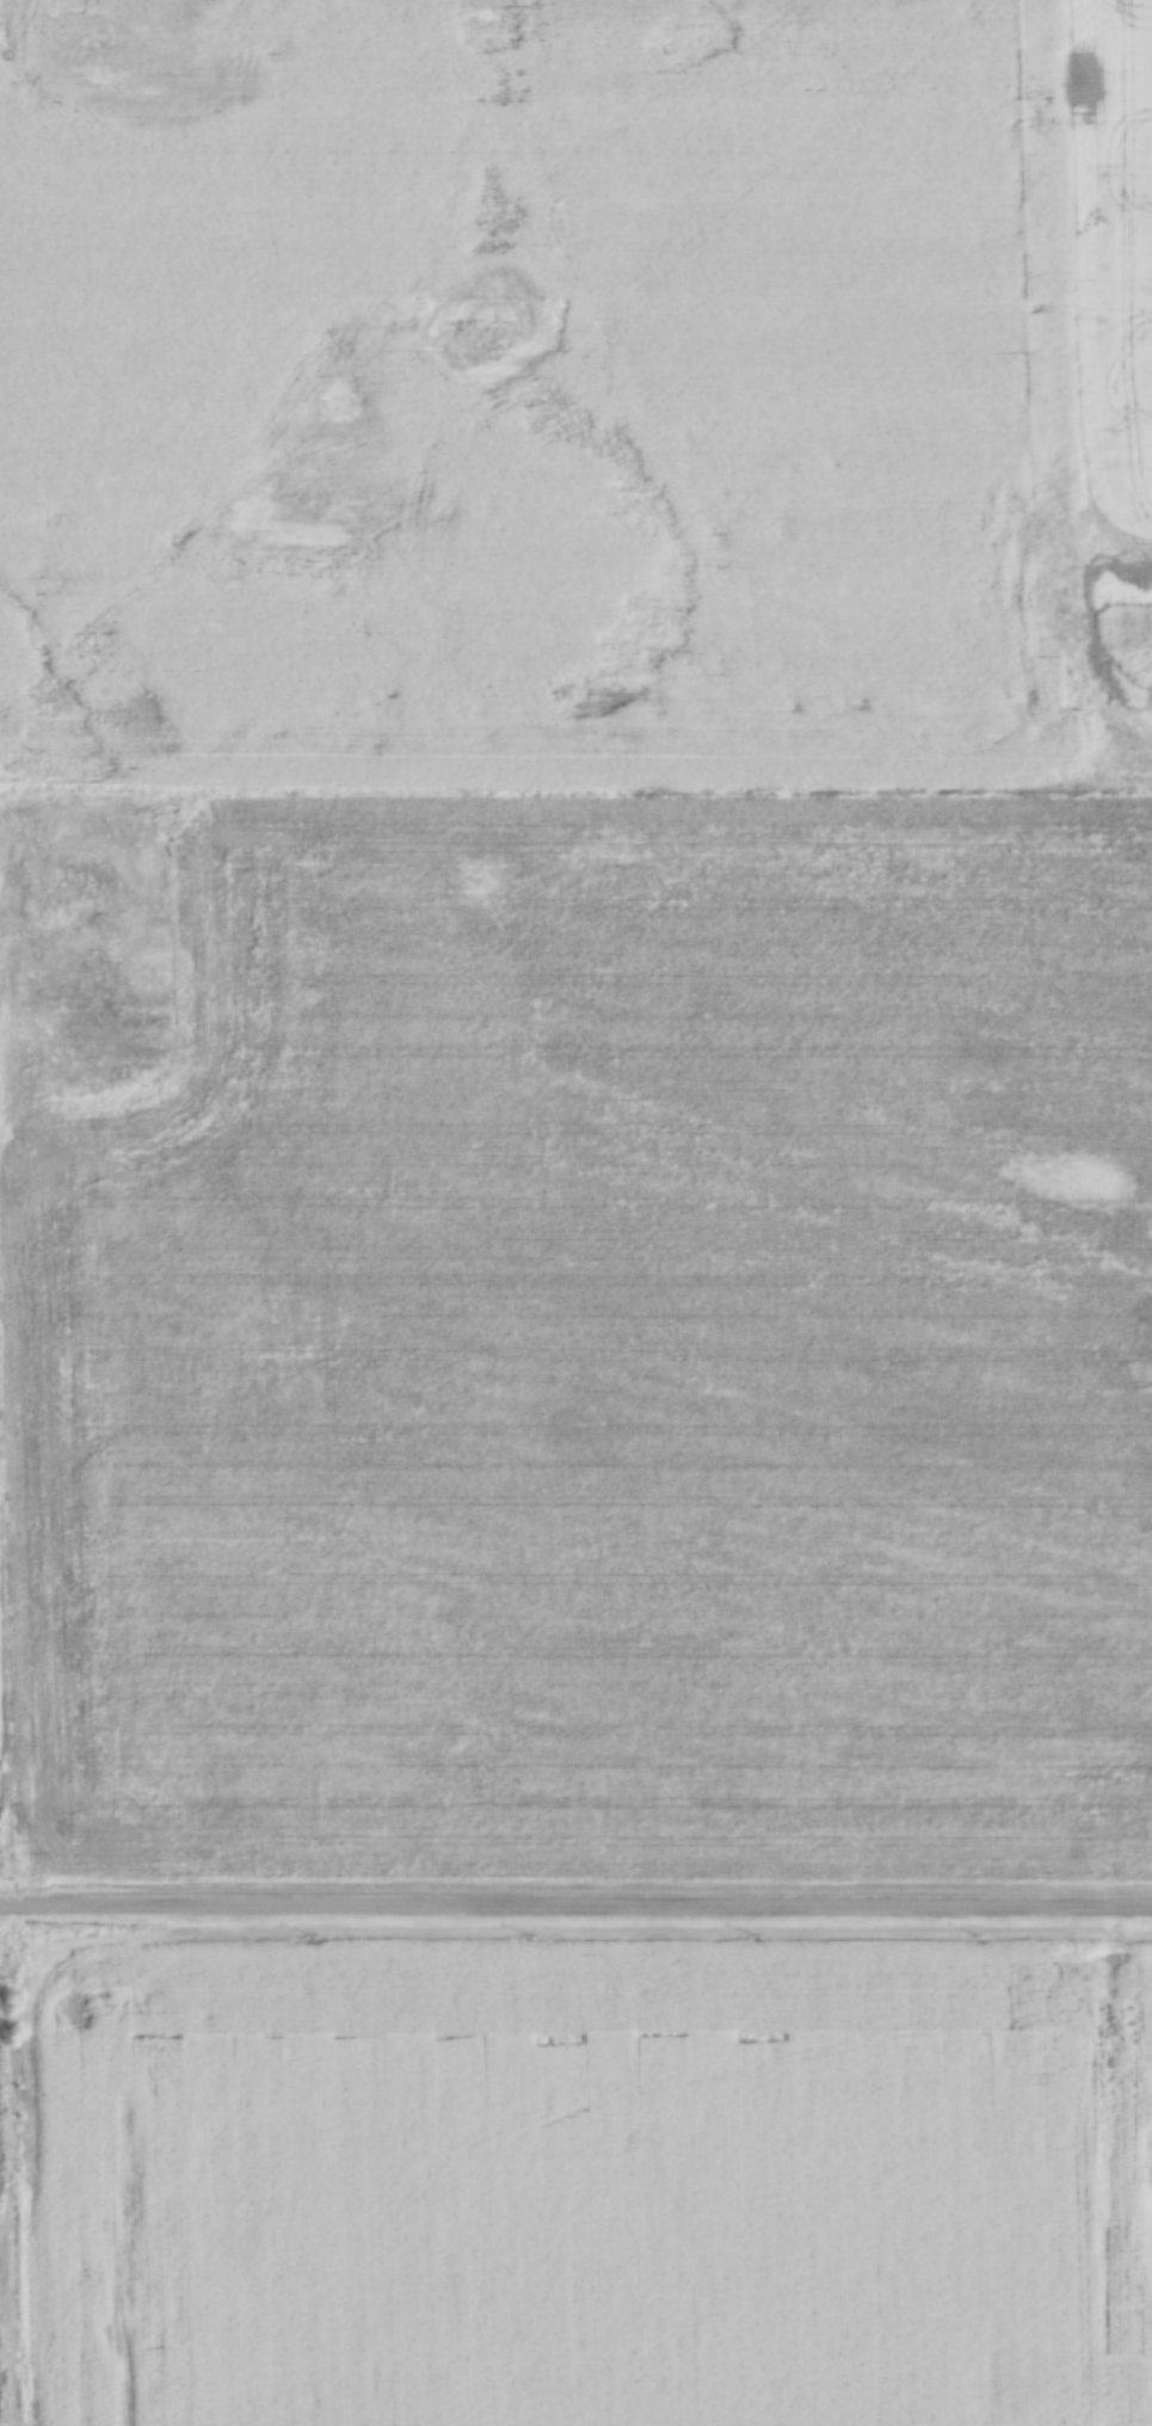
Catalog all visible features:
road: (575, 1904)

